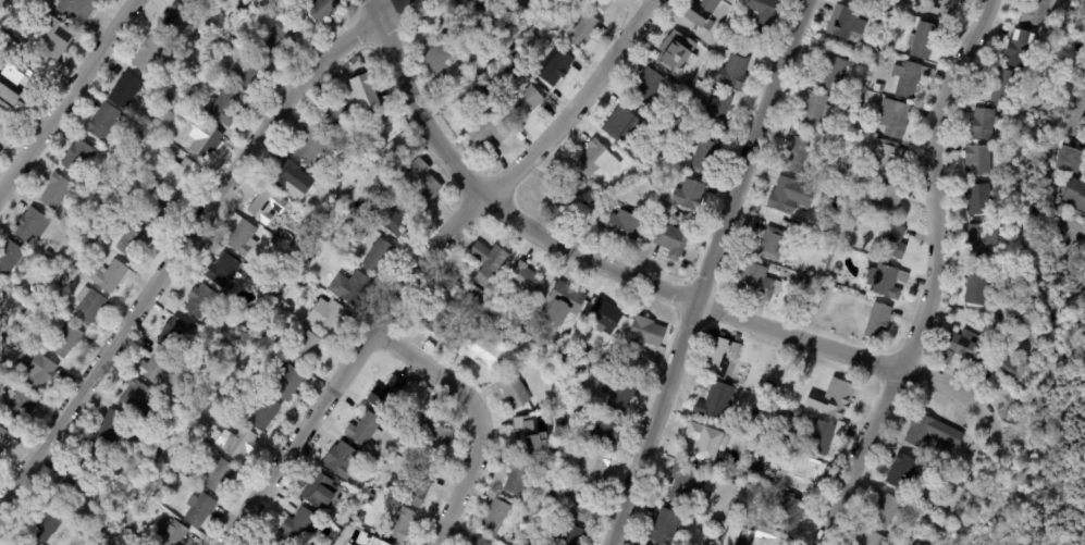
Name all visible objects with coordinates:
building: (195, 1)
building: (868, 2)
building: (914, 2)
building: (281, 4)
building: (602, 4)
building: (944, 7)
building: (77, 9)
building: (321, 9)
building: (469, 11)
building: (1039, 11)
building: (703, 13)
building: (764, 14)
building: (242, 16)
building: (177, 20)
building: (848, 23)
building: (1062, 25)
building: (190, 33)
building: (582, 33)
building: (53, 38)
building: (924, 39)
building: (275, 41)
building: (698, 46)
building: (711, 46)
building: (719, 47)
building: (1022, 48)
building: (676, 49)
building: (150, 54)
building: (444, 55)
building: (474, 57)
building: (702, 57)
building: (881, 59)
building: (11, 63)
building: (529, 65)
building: (195, 66)
building: (553, 66)
building: (736, 69)
building: (247, 73)
building: (831, 73)
building: (503, 76)
building: (224, 77)
building: (704, 77)
building: (910, 77)
building: (493, 84)
building: (648, 86)
building: (1006, 87)
building: (435, 89)
building: (125, 90)
building: (365, 91)
road: (66, 96)
building: (854, 97)
building: (11, 98)
building: (481, 98)
building: (167, 103)
building: (525, 103)
building: (178, 108)
building: (224, 108)
building: (715, 110)
building: (816, 110)
building: (332, 115)
building: (896, 119)
building: (103, 121)
building: (986, 123)
building: (621, 124)
building: (488, 129)
building: (679, 131)
building: (378, 134)
building: (205, 140)
building: (999, 141)
building: (309, 146)
building: (700, 150)
building: (352, 153)
building: (797, 153)
building: (78, 157)
building: (887, 158)
road: (1047, 158)
building: (127, 160)
building: (597, 160)
building: (979, 160)
building: (1071, 160)
building: (385, 168)
building: (121, 171)
building: (867, 172)
building: (182, 175)
building: (287, 175)
building: (423, 183)
building: (56, 191)
building: (690, 195)
building: (1075, 195)
building: (791, 196)
building: (562, 197)
building: (312, 199)
building: (888, 199)
building: (977, 199)
building: (653, 203)
building: (264, 207)
building: (157, 209)
building: (1084, 215)
building: (395, 219)
building: (599, 220)
building: (350, 221)
building: (1078, 225)
building: (32, 226)
building: (626, 226)
building: (241, 236)
building: (288, 238)
building: (133, 239)
road: (186, 239)
building: (86, 240)
building: (671, 240)
building: (274, 241)
building: (893, 241)
building: (983, 241)
building: (774, 245)
building: (1075, 251)
building: (48, 255)
building: (380, 257)
building: (13, 259)
road: (422, 260)
building: (826, 260)
building: (489, 263)
building: (223, 269)
building: (837, 269)
road: (706, 271)
building: (62, 273)
road: (631, 274)
building: (111, 275)
building: (308, 276)
building: (67, 277)
building: (829, 278)
road: (933, 278)
building: (526, 280)
building: (886, 281)
building: (759, 283)
building: (809, 286)
building: (826, 286)
building: (977, 286)
building: (350, 287)
building: (0, 290)
building: (837, 290)
building: (477, 292)
building: (201, 299)
building: (565, 304)
building: (88, 306)
building: (286, 308)
building: (20, 310)
building: (440, 314)
building: (328, 315)
building: (243, 320)
building: (604, 320)
building: (1006, 321)
building: (879, 322)
building: (173, 333)
building: (645, 333)
building: (222, 334)
building: (8, 337)
building: (263, 338)
building: (15, 339)
building: (65, 340)
building: (1007, 342)
building: (305, 347)
building: (480, 348)
building: (964, 348)
building: (563, 354)
building: (183, 359)
building: (725, 359)
building: (609, 361)
building: (1, 363)
building: (1009, 366)
building: (156, 367)
building: (35, 370)
building: (244, 370)
building: (288, 383)
building: (770, 388)
building: (515, 391)
building: (620, 393)
building: (389, 395)
building: (135, 396)
building: (781, 397)
building: (834, 399)
building: (716, 402)
building: (15, 407)
building: (235, 411)
building: (262, 413)
building: (797, 413)
road: (480, 416)
building: (562, 422)
building: (111, 429)
building: (365, 430)
building: (606, 433)
building: (933, 433)
building: (525, 434)
building: (823, 436)
building: (434, 437)
building: (4, 438)
building: (235, 442)
building: (705, 442)
building: (404, 444)
building: (570, 447)
building: (186, 451)
building: (381, 459)
building: (94, 461)
building: (342, 461)
building: (593, 468)
building: (903, 472)
building: (218, 475)
building: (806, 476)
building: (519, 479)
building: (959, 482)
building: (685, 483)
building: (63, 490)
building: (419, 490)
building: (360, 491)
building: (321, 492)
building: (346, 493)
building: (159, 497)
building: (370, 497)
building: (575, 504)
building: (735, 508)
building: (200, 511)
building: (789, 512)
building: (888, 512)
building: (496, 515)
building: (691, 517)
building: (530, 519)
building: (46, 523)
building: (359, 523)
building: (301, 525)
building: (400, 525)
building: (667, 528)
building: (169, 533)
building: (569, 535)
building: (732, 536)
building: (772, 536)
building: (874, 538)
building: (22, 542)
building: (279, 542)
building: (477, 542)
building: (385, 544)

